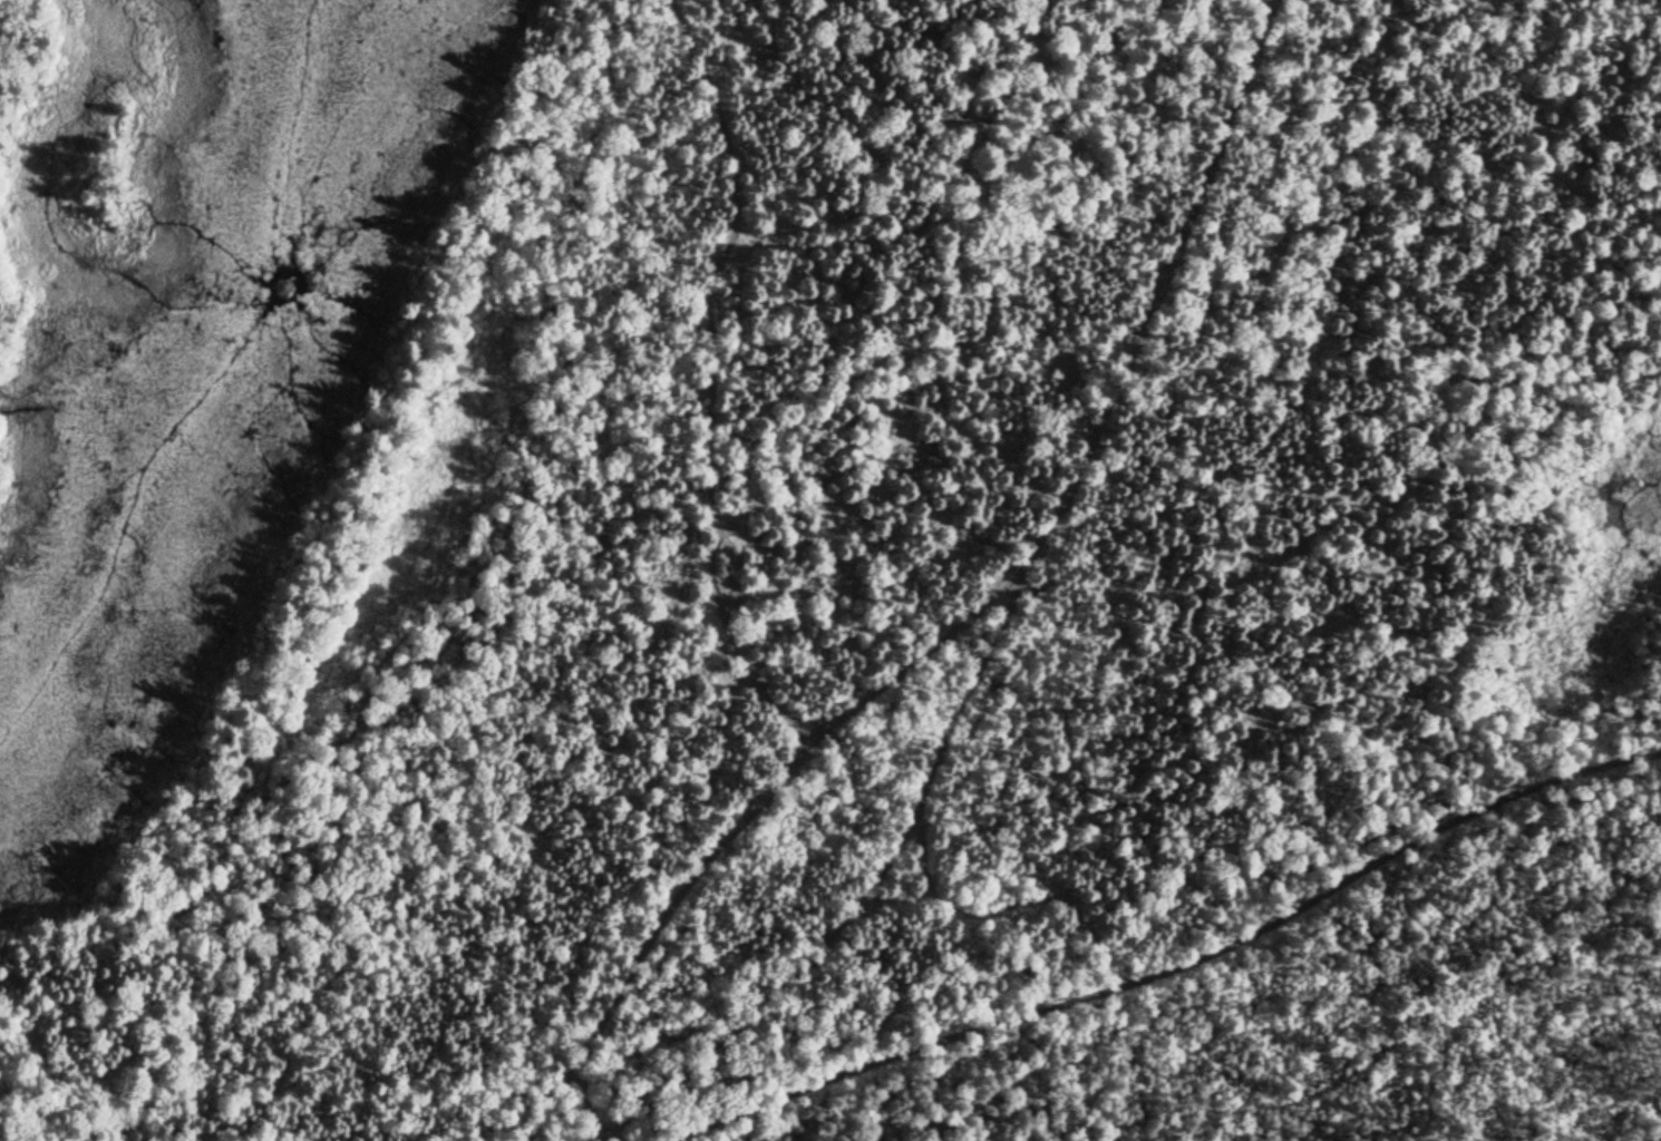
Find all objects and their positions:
road: (943, 593)
road: (880, 850)
road: (1177, 963)

